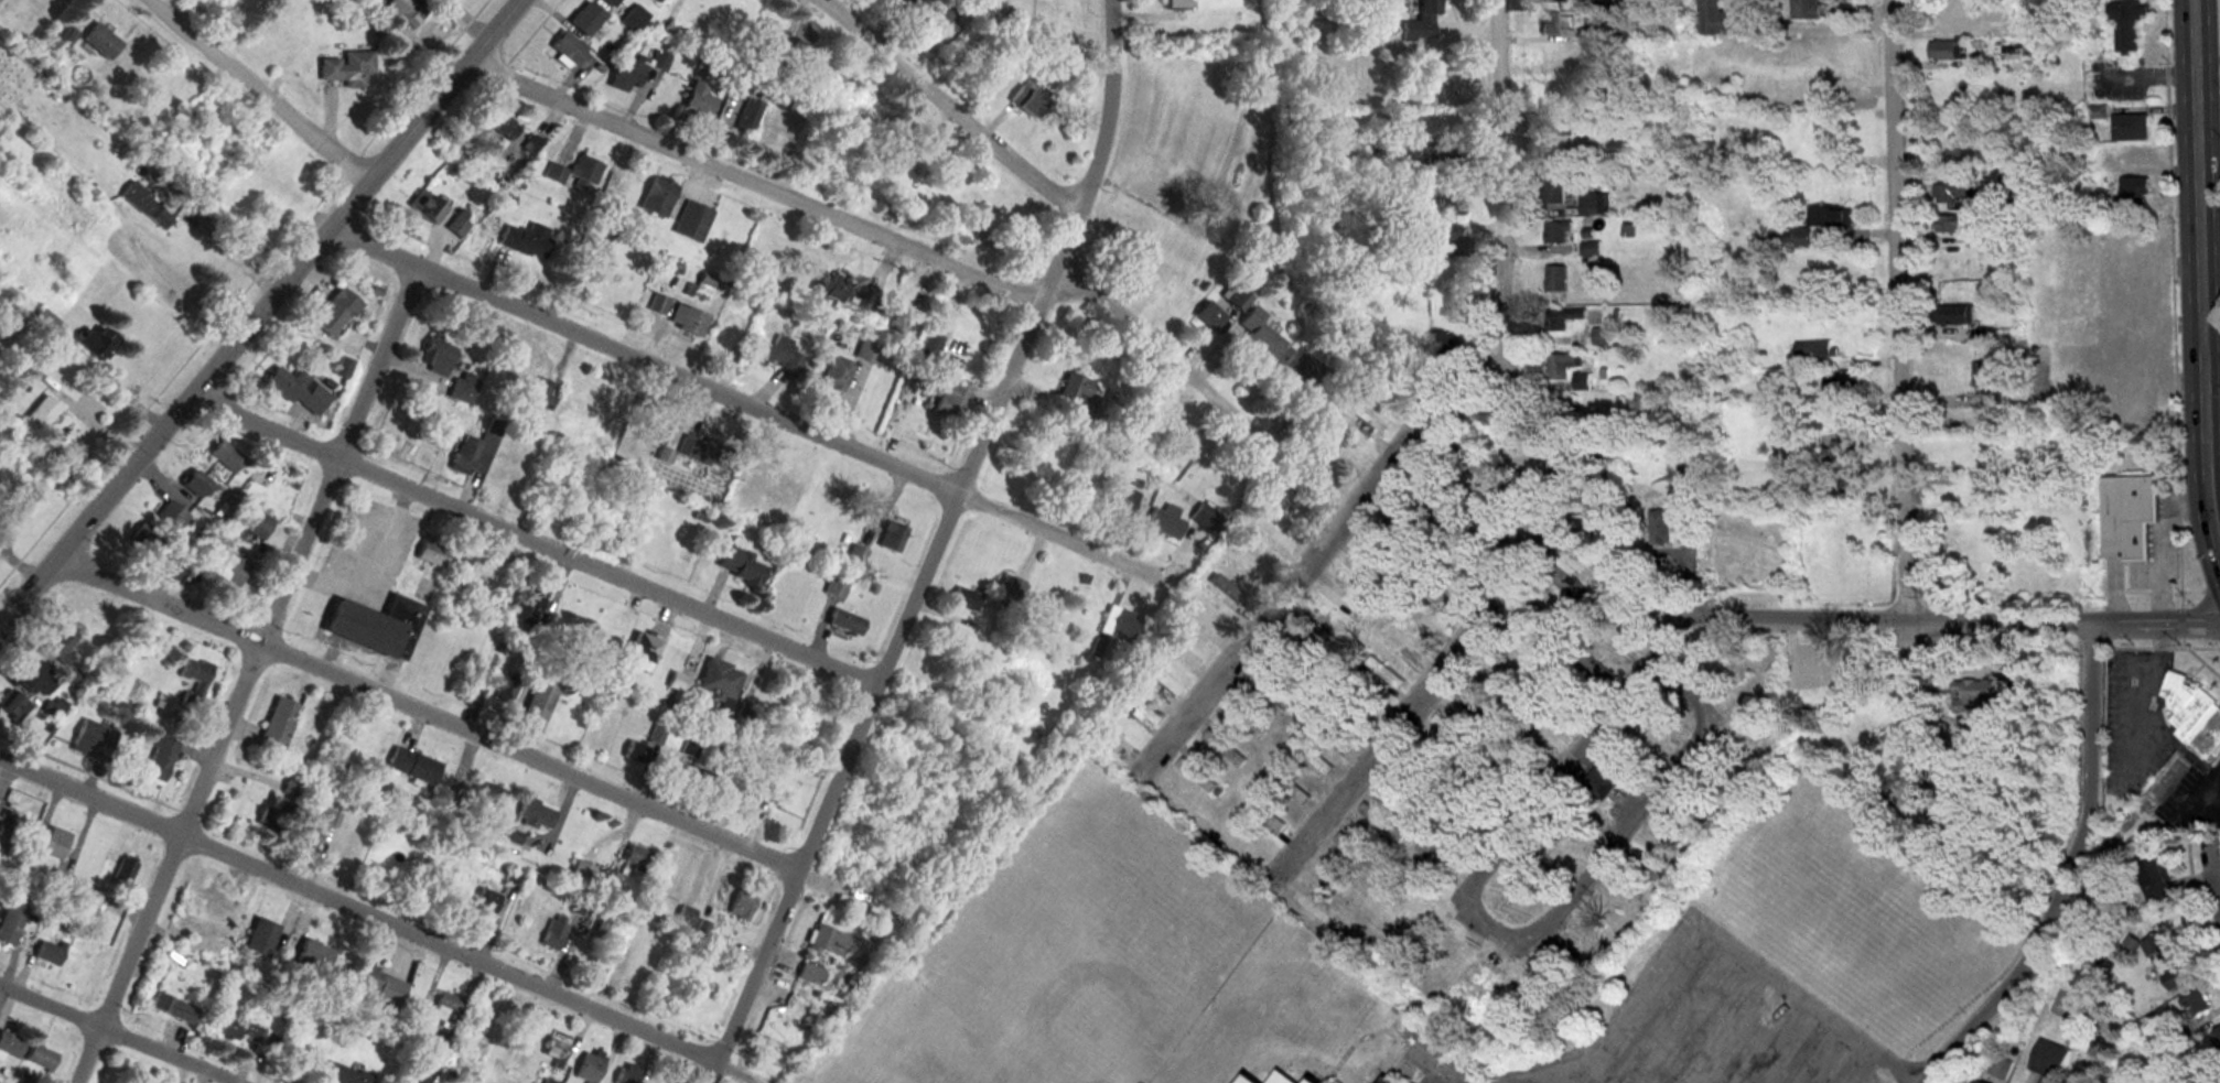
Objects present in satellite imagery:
building: (895, 0)
building: (917, 0)
building: (1551, 1)
building: (608, 2)
building: (1176, 4)
building: (1806, 9)
building: (406, 10)
building: (1960, 13)
building: (633, 18)
building: (584, 19)
building: (941, 19)
building: (1717, 19)
building: (1421, 22)
building: (1554, 22)
building: (2129, 22)
building: (642, 34)
building: (768, 35)
building: (66, 36)
building: (101, 41)
building: (564, 50)
building: (800, 50)
building: (1950, 50)
building: (347, 68)
building: (633, 72)
building: (1826, 79)
road: (262, 89)
building: (698, 98)
road: (958, 104)
building: (1026, 104)
building: (747, 115)
building: (1556, 122)
building: (503, 127)
building: (2131, 128)
building: (1616, 148)
building: (1812, 148)
building: (886, 151)
building: (1403, 167)
building: (574, 173)
road: (759, 178)
building: (1554, 191)
building: (1952, 192)
building: (2133, 194)
building: (656, 196)
building: (146, 205)
building: (1594, 205)
building: (427, 208)
building: (601, 215)
building: (1831, 216)
building: (691, 221)
building: (1952, 224)
road: (1506, 226)
building: (1558, 232)
building: (1791, 237)
building: (525, 240)
building: (1597, 250)
road: (228, 256)
building: (1146, 258)
road: (2207, 267)
building: (1555, 280)
building: (181, 283)
building: (828, 289)
building: (1239, 303)
building: (658, 304)
road: (1907, 311)
building: (334, 312)
road: (258, 313)
building: (1954, 314)
building: (1206, 317)
building: (899, 318)
building: (1562, 318)
building: (687, 320)
building: (737, 328)
road: (2214, 334)
building: (1258, 335)
building: (1602, 337)
building: (100, 343)
building: (1444, 343)
building: (929, 347)
building: (1814, 349)
building: (777, 355)
building: (435, 356)
road: (1163, 357)
building: (1561, 366)
building: (836, 375)
building: (1300, 375)
building: (1581, 381)
building: (1843, 381)
building: (1989, 382)
building: (2104, 385)
building: (463, 387)
building: (298, 390)
building: (1080, 390)
building: (541, 393)
building: (944, 394)
building: (1391, 401)
road: (757, 403)
building: (1565, 409)
building: (45, 413)
building: (1365, 419)
building: (1334, 435)
building: (530, 444)
building: (1845, 450)
building: (476, 451)
building: (1355, 452)
building: (705, 453)
building: (225, 455)
building: (1689, 462)
building: (498, 469)
building: (1565, 472)
road: (2216, 475)
building: (1319, 478)
building: (1850, 484)
building: (756, 490)
building: (787, 491)
building: (1127, 502)
road: (2218, 509)
building: (172, 516)
building: (1203, 517)
building: (2129, 517)
building: (1163, 521)
building: (256, 523)
building: (1660, 528)
building: (891, 538)
road: (540, 540)
building: (148, 542)
road: (945, 546)
building: (432, 554)
building: (855, 557)
building: (739, 565)
building: (226, 567)
building: (1571, 585)
building: (837, 588)
building: (1010, 588)
building: (1228, 594)
road: (1280, 596)
building: (966, 599)
building: (527, 606)
building: (1427, 616)
building: (1544, 616)
road: (1790, 618)
building: (1204, 620)
building: (845, 622)
building: (1123, 625)
building: (375, 627)
building: (1312, 630)
building: (603, 636)
building: (65, 645)
building: (639, 650)
building: (602, 662)
building: (1810, 669)
building: (1384, 672)
road: (259, 675)
building: (1155, 678)
building: (1498, 678)
building: (40, 680)
building: (719, 680)
building: (194, 681)
building: (676, 681)
building: (1728, 685)
building: (502, 687)
building: (1971, 695)
building: (538, 702)
road: (2138, 702)
road: (1416, 705)
building: (1473, 706)
building: (19, 707)
building: (1134, 707)
building: (1754, 707)
building: (55, 710)
building: (1566, 710)
building: (2192, 712)
road: (434, 716)
road: (2091, 717)
building: (1246, 719)
building: (279, 722)
building: (1336, 727)
building: (1452, 732)
building: (1745, 732)
building: (96, 740)
building: (643, 746)
building: (690, 747)
building: (1224, 749)
building: (1314, 758)
building: (160, 759)
building: (411, 766)
building: (1430, 769)
building: (1711, 770)
building: (1498, 773)
building: (1197, 776)
building: (701, 781)
building: (1401, 786)
building: (1602, 786)
building: (294, 787)
building: (484, 797)
building: (741, 797)
building: (6, 814)
building: (534, 815)
building: (1265, 815)
building: (276, 816)
building: (1478, 817)
building: (1381, 824)
building: (1667, 830)
building: (309, 835)
building: (510, 836)
building: (57, 843)
building: (1358, 853)
building: (635, 857)
building: (1438, 858)
building: (125, 869)
building: (580, 874)
road: (2213, 879)
building: (63, 881)
building: (1329, 881)
building: (1626, 882)
building: (2154, 882)
building: (484, 902)
building: (740, 906)
building: (581, 908)
building: (1310, 909)
road: (362, 912)
building: (683, 916)
building: (13, 923)
building: (599, 929)
building: (553, 934)
building: (261, 939)
road: (1492, 939)
building: (1587, 940)
building: (827, 941)
building: (52, 952)
building: (313, 954)
building: (632, 954)
road: (2029, 959)
building: (2165, 963)
building: (1548, 966)
building: (807, 974)
building: (371, 987)
building: (2196, 1004)
building: (174, 1009)
building: (444, 1009)
building: (239, 1031)
road: (117, 1032)
building: (2216, 1040)
building: (11, 1046)
building: (553, 1050)
building: (44, 1058)
building: (2049, 1061)
building: (589, 1068)
building: (2000, 1069)
building: (343, 1074)
building: (626, 1074)
building: (28, 1079)
building: (1257, 1079)
building: (1383, 1080)
building: (546, 1081)
building: (1976, 1082)

